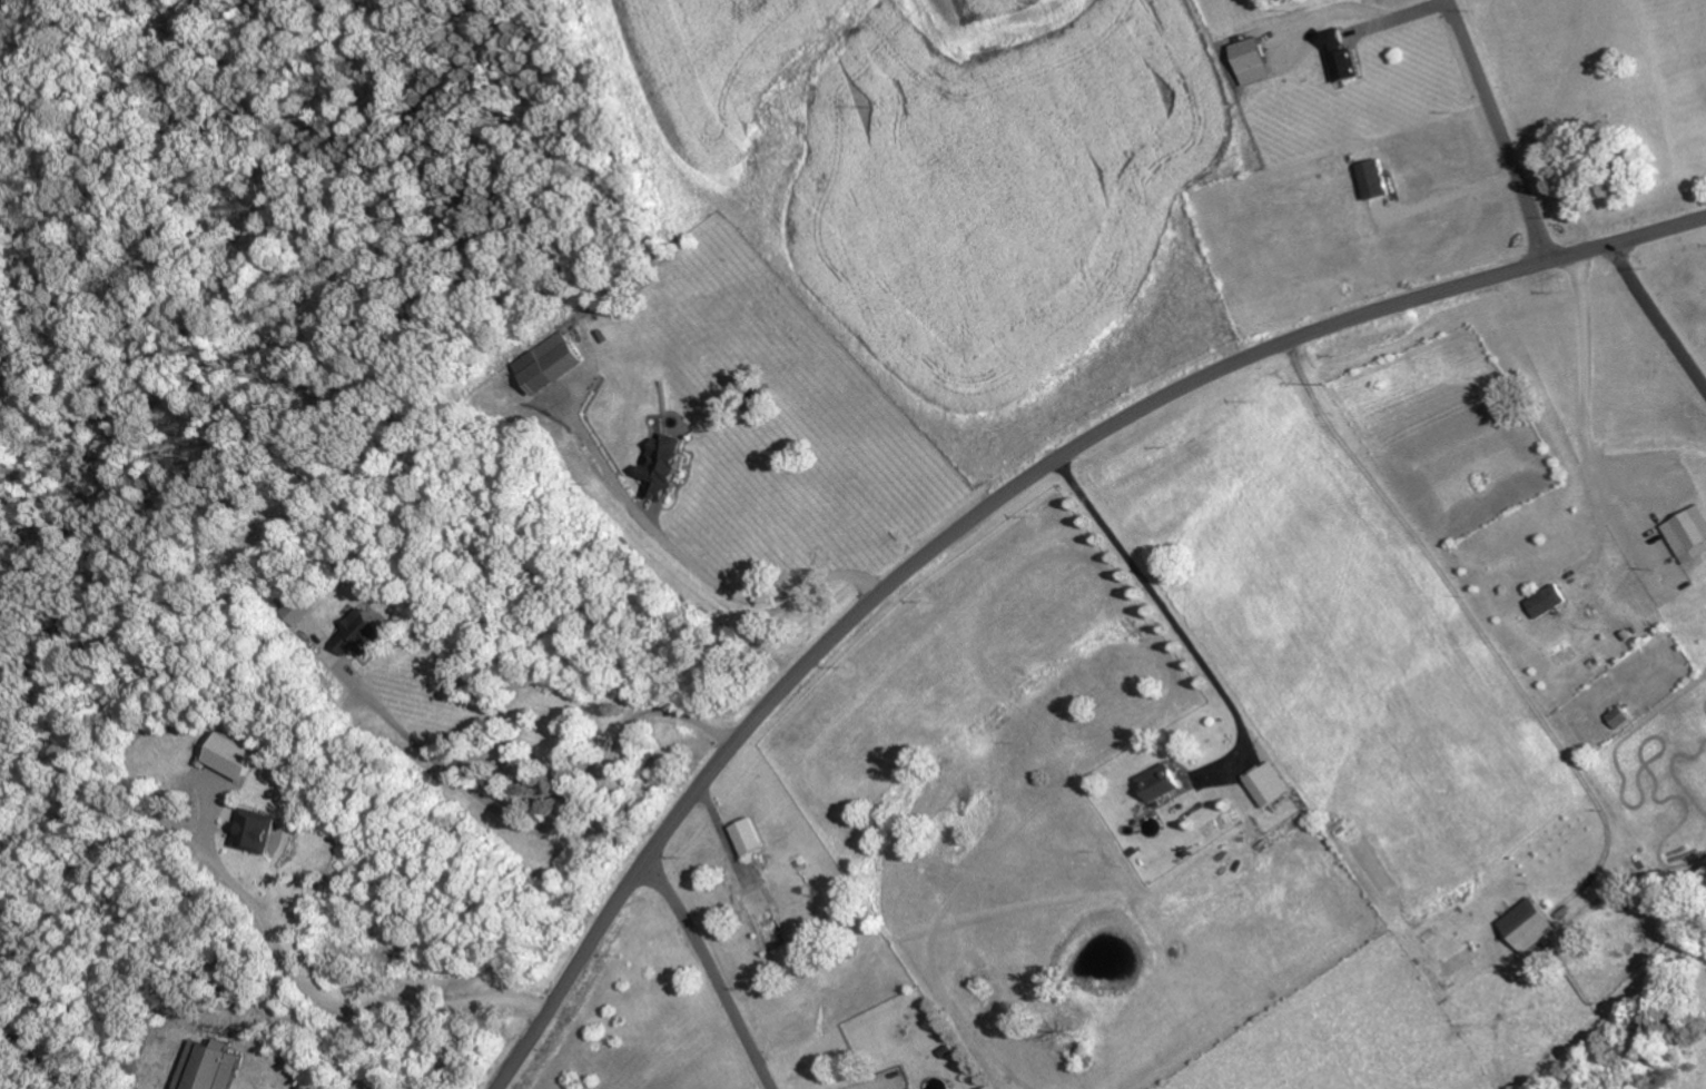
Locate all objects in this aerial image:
road: (1359, 11)
building: (1339, 59)
building: (1250, 60)
road: (1502, 130)
building: (1374, 178)
road: (1460, 194)
road: (1626, 267)
road: (1670, 341)
building: (549, 363)
road: (1581, 397)
building: (662, 465)
road: (996, 505)
building: (1688, 534)
road: (690, 566)
building: (1546, 601)
road: (1166, 608)
building: (359, 634)
building: (1619, 717)
building: (233, 756)
building: (1161, 783)
building: (1269, 784)
road: (535, 825)
building: (256, 831)
building: (748, 836)
building: (1529, 925)
road: (717, 973)
road: (322, 992)
road: (455, 1046)
building: (206, 1068)
road: (871, 1082)

